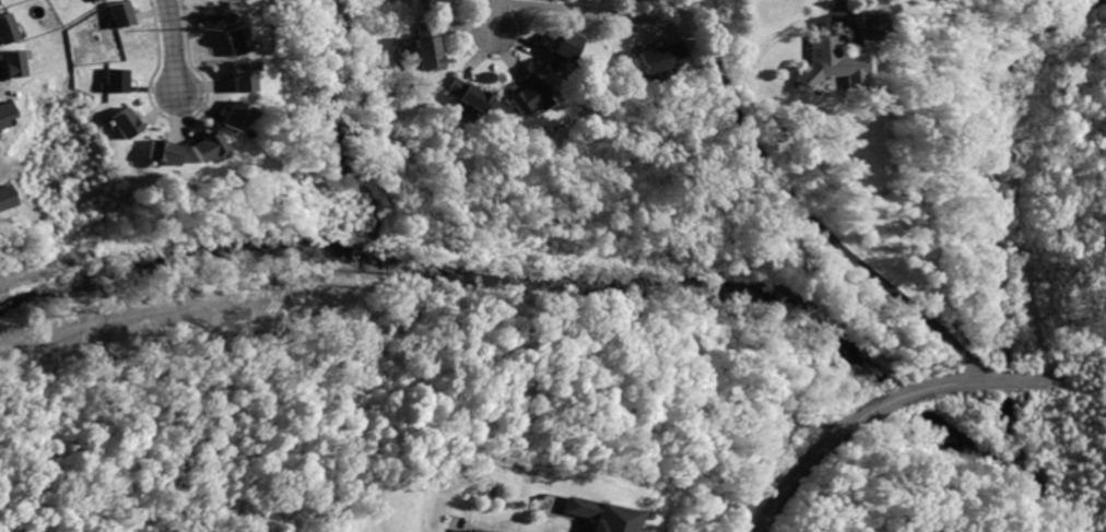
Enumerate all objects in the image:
building: (109, 0)
building: (436, 5)
road: (595, 11)
building: (125, 14)
road: (497, 16)
building: (869, 24)
road: (843, 27)
building: (7, 31)
building: (234, 38)
road: (176, 44)
building: (428, 45)
building: (563, 52)
building: (661, 56)
building: (825, 61)
building: (12, 62)
building: (239, 76)
building: (116, 81)
building: (466, 93)
building: (531, 95)
building: (4, 111)
building: (233, 116)
building: (125, 120)
building: (204, 145)
building: (161, 151)
building: (4, 196)
road: (1022, 212)
road: (805, 214)
road: (1075, 342)
road: (881, 406)
building: (595, 515)
building: (471, 530)

